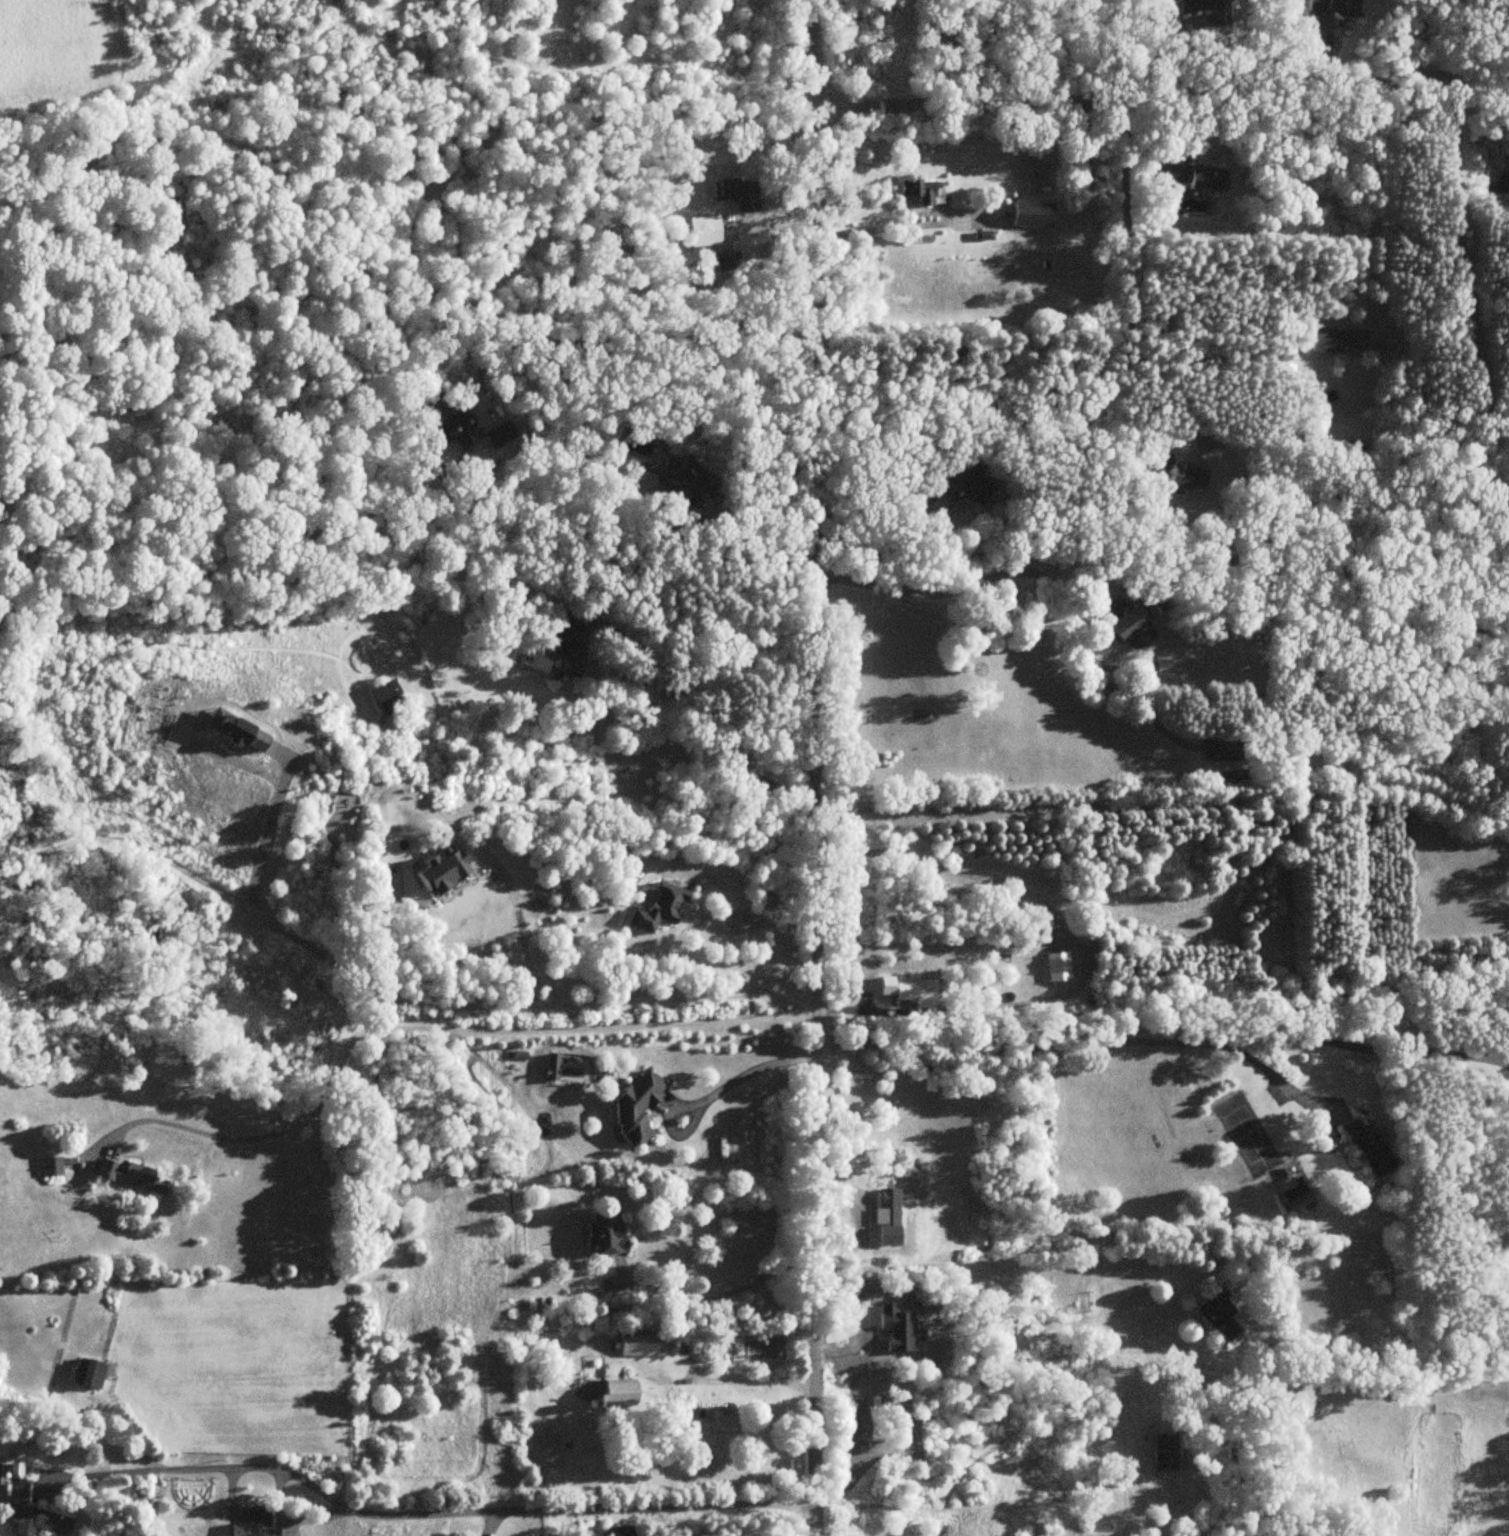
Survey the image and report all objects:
building: (1204, 10)
road: (1398, 39)
road: (1160, 88)
building: (1192, 176)
building: (1494, 178)
building: (916, 191)
building: (737, 193)
road: (1377, 203)
building: (1028, 213)
road: (1007, 225)
building: (702, 230)
building: (745, 248)
building: (724, 261)
road: (1123, 272)
road: (646, 336)
building: (1336, 340)
road: (1473, 345)
building: (1183, 477)
building: (962, 489)
building: (674, 495)
road: (876, 548)
road: (760, 549)
road: (990, 576)
building: (1125, 625)
building: (564, 631)
building: (383, 697)
building: (1223, 749)
road: (814, 767)
road: (1165, 801)
road: (269, 823)
road: (520, 921)
road: (1081, 955)
building: (1056, 966)
road: (739, 967)
road: (384, 989)
building: (911, 992)
road: (430, 1027)
road: (1353, 1044)
road: (1082, 1048)
road: (742, 1075)
building: (634, 1107)
building: (1367, 1151)
building: (50, 1166)
building: (131, 1177)
building: (903, 1188)
building: (885, 1227)
building: (603, 1234)
road: (993, 1263)
road: (720, 1295)
building: (1219, 1316)
building: (639, 1344)
building: (87, 1374)
road: (746, 1381)
building: (614, 1393)
building: (710, 1418)
building: (1162, 1452)
building: (32, 1515)
road: (420, 1515)
building: (254, 1523)
building: (617, 1531)

